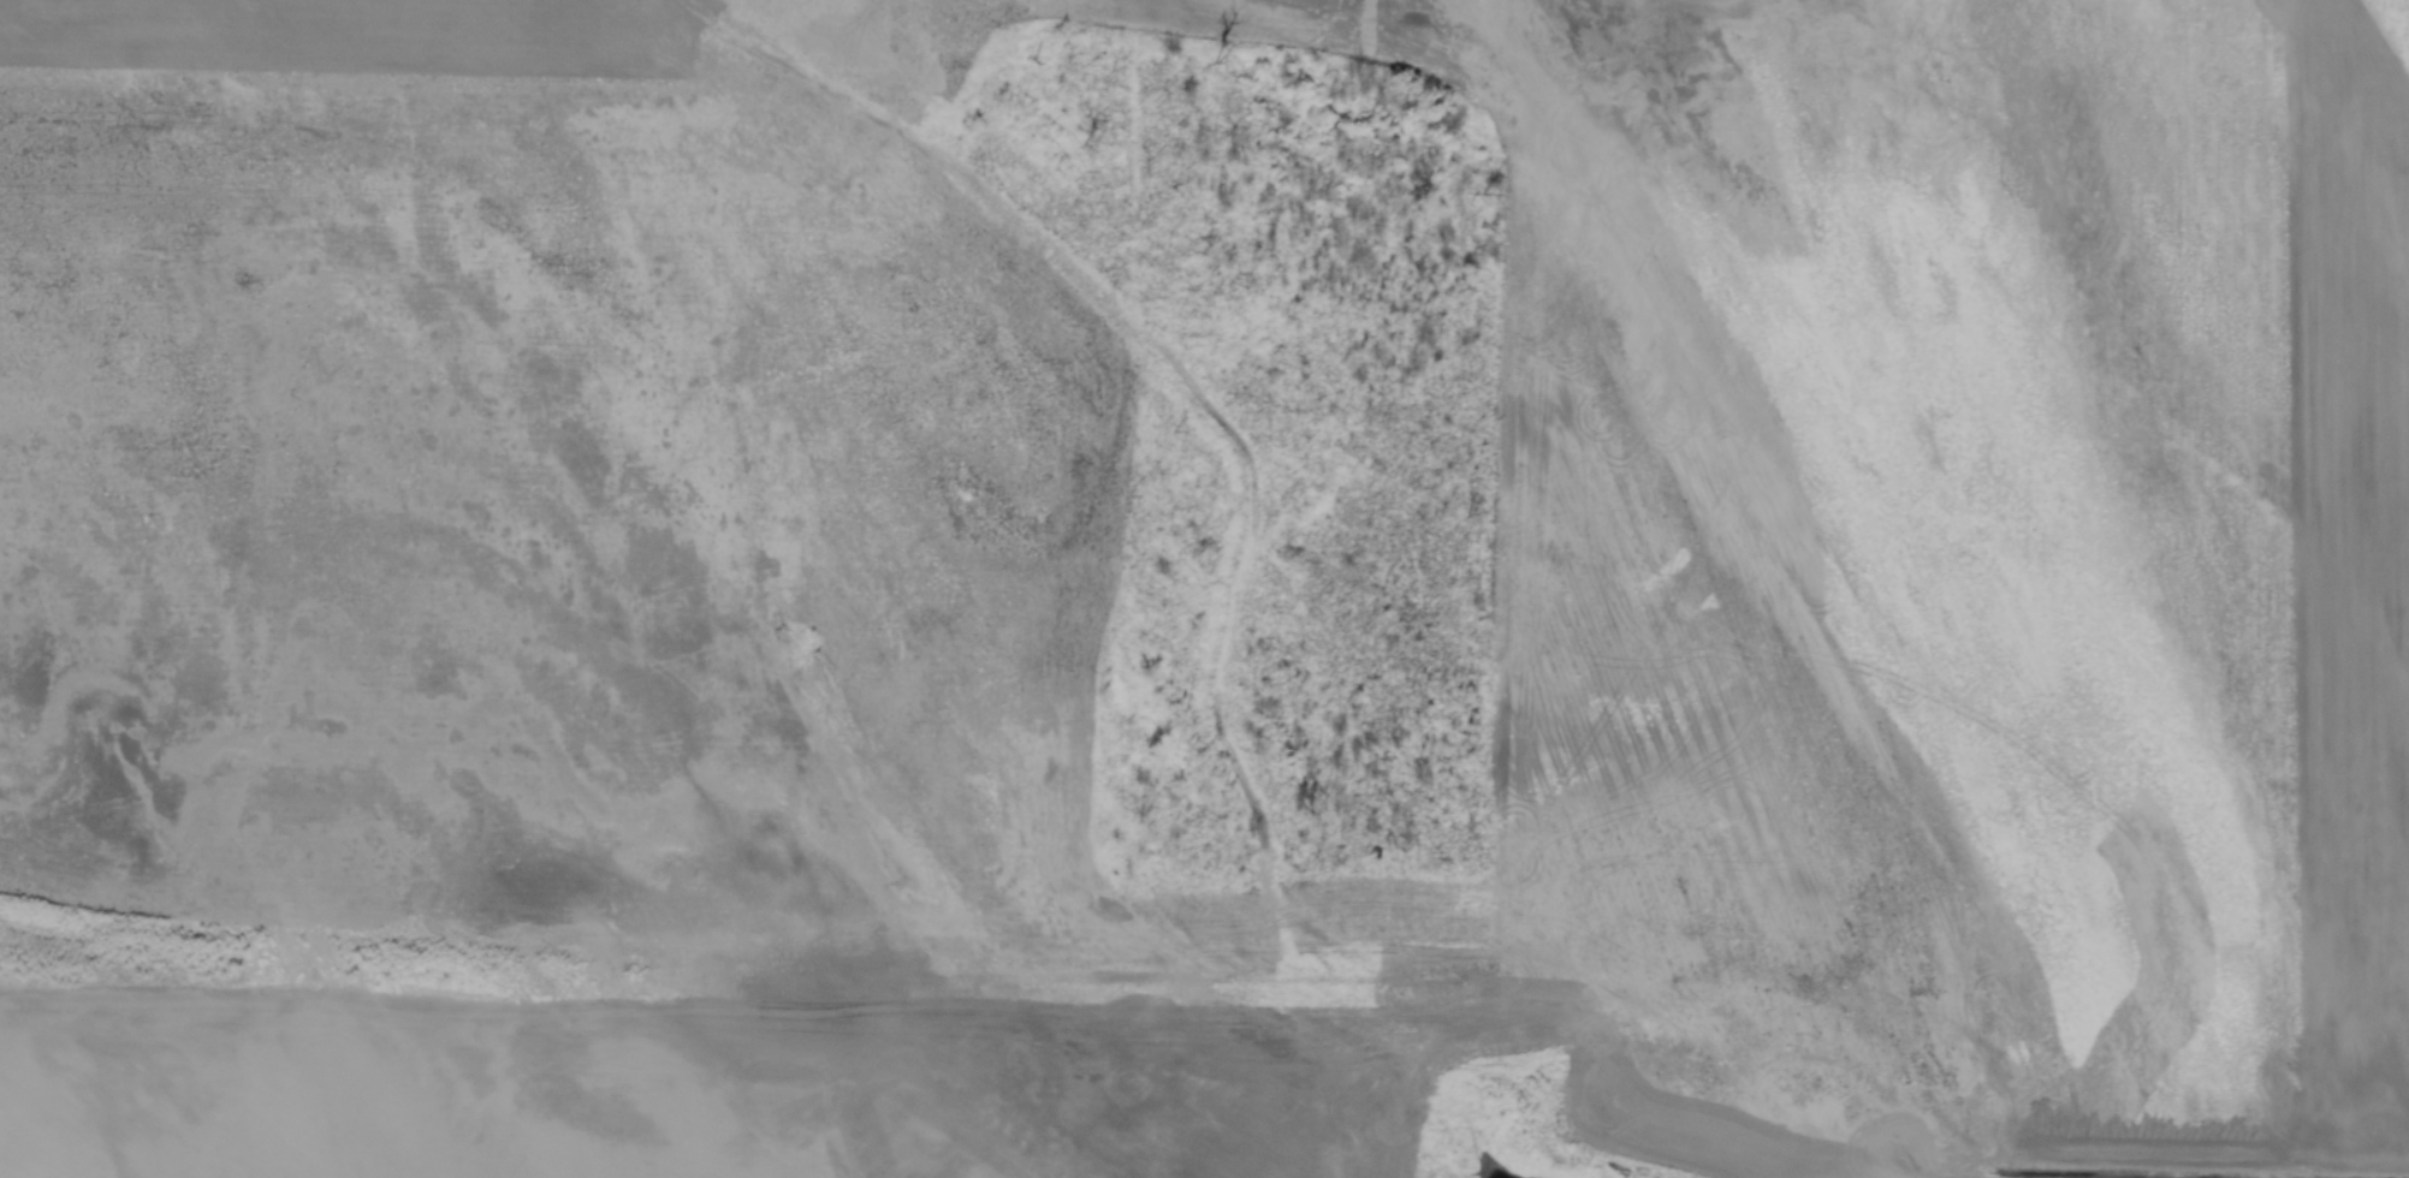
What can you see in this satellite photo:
road: (1275, 833)

